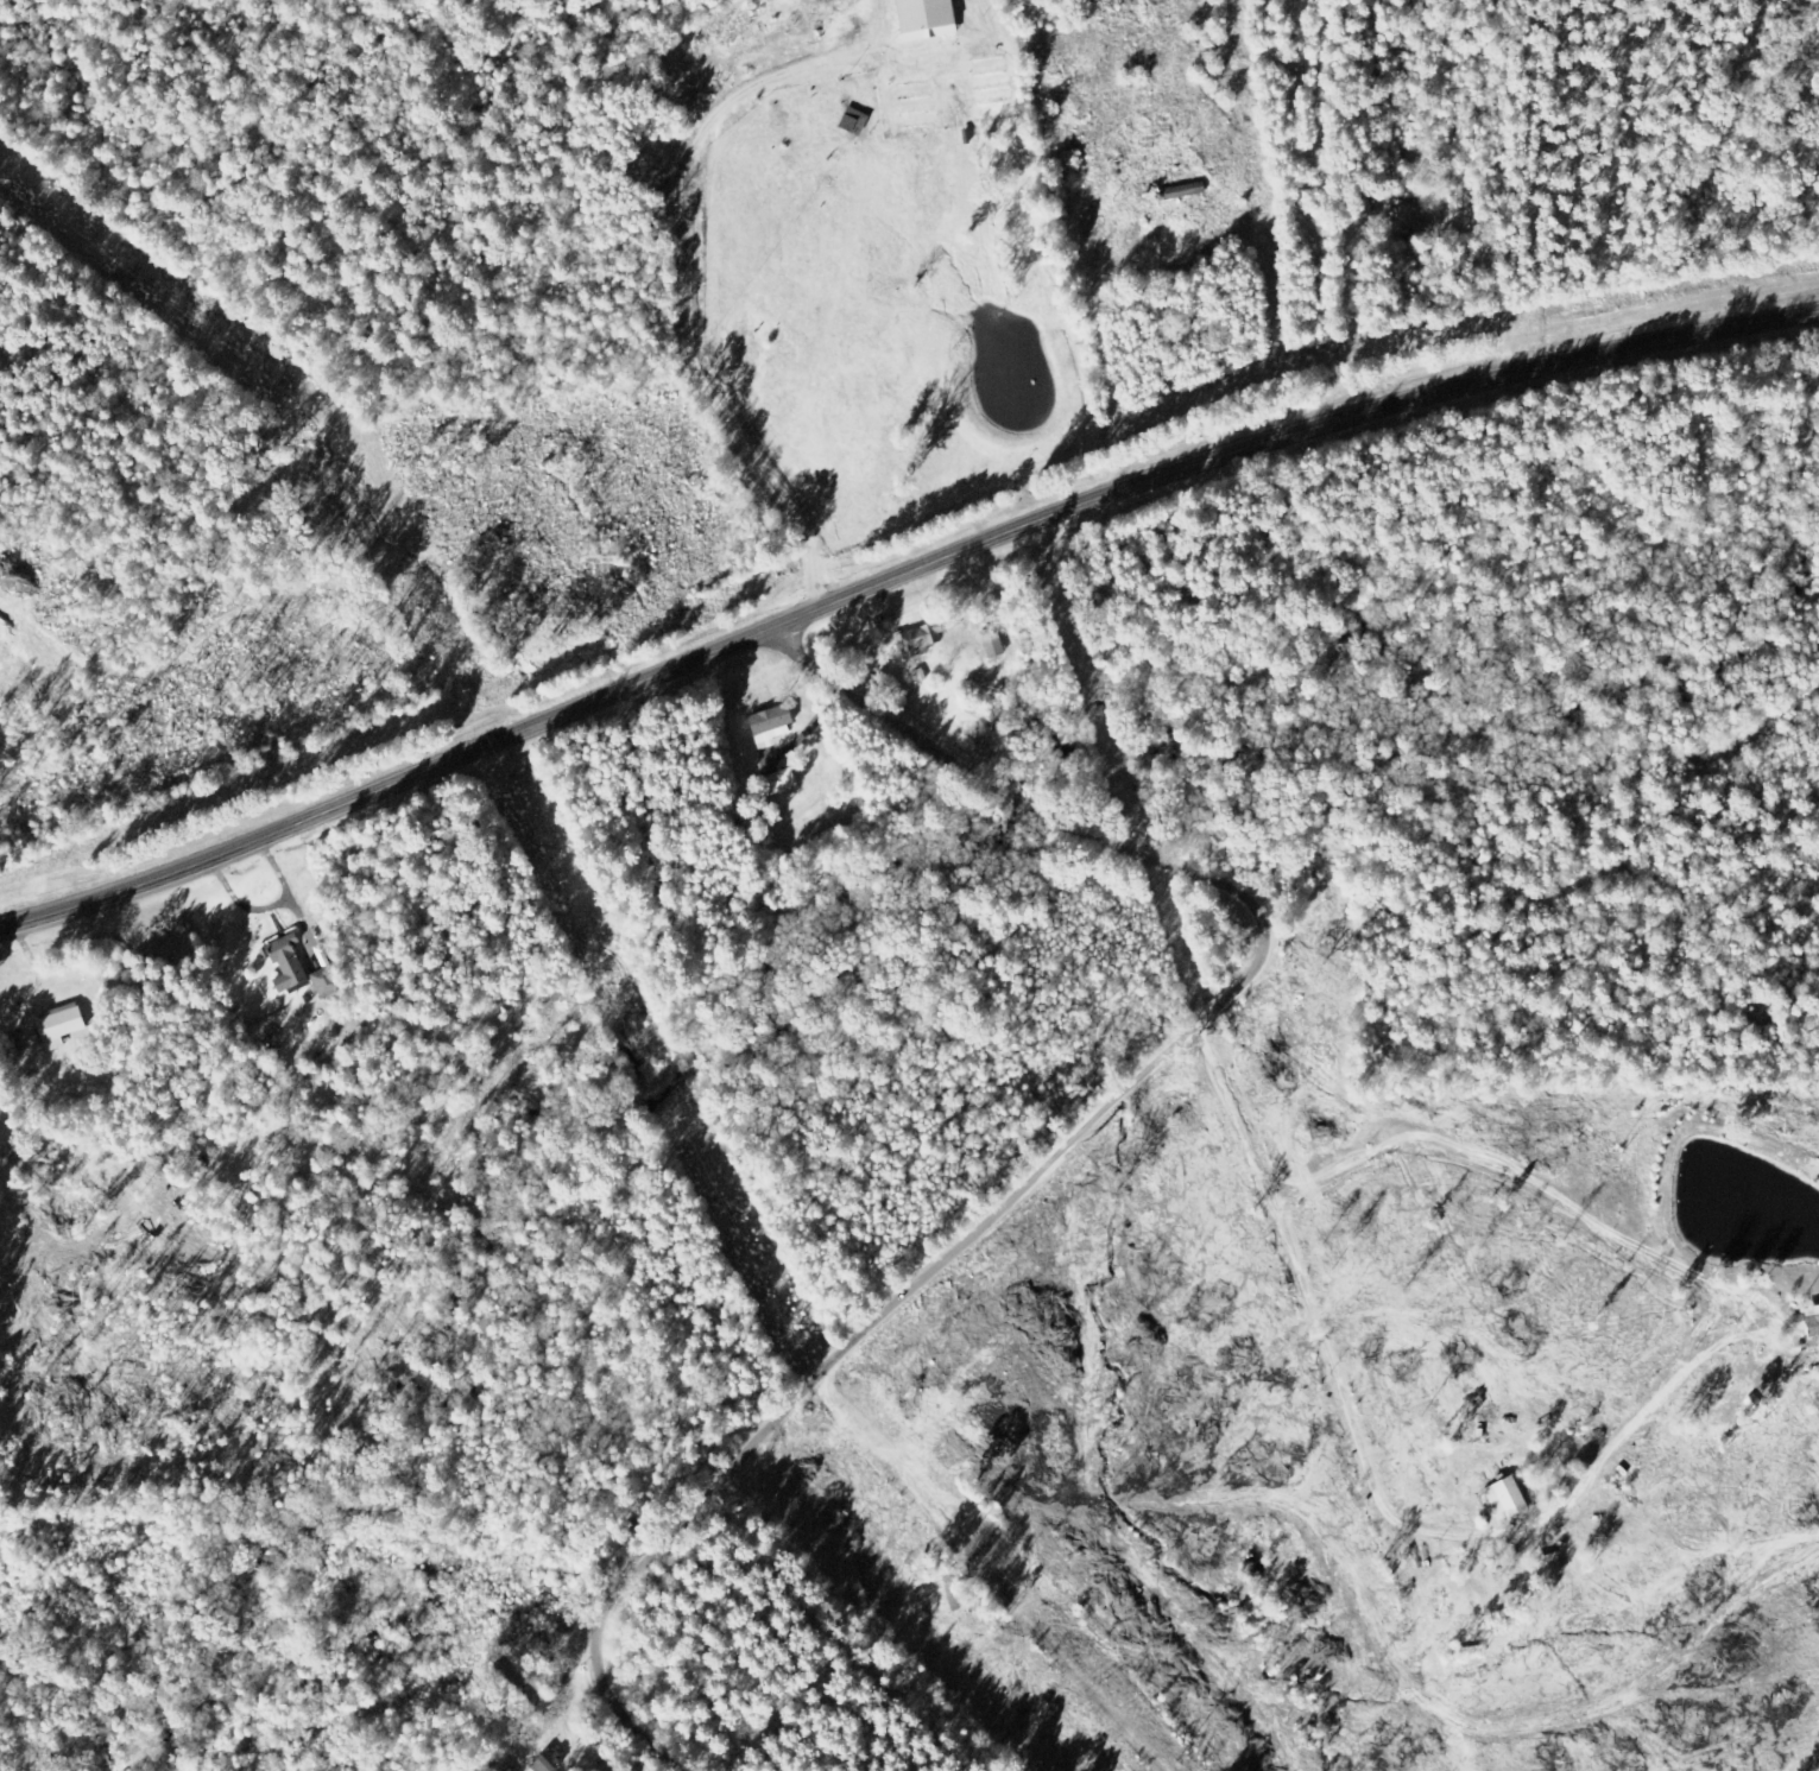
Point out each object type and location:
building: (928, 17)
building: (857, 121)
building: (1402, 209)
road: (896, 577)
building: (923, 639)
building: (773, 726)
building: (782, 782)
building: (289, 962)
building: (327, 981)
building: (61, 1026)
road: (1080, 1132)
building: (1818, 1309)
building: (1509, 1499)
building: (1549, 1567)

